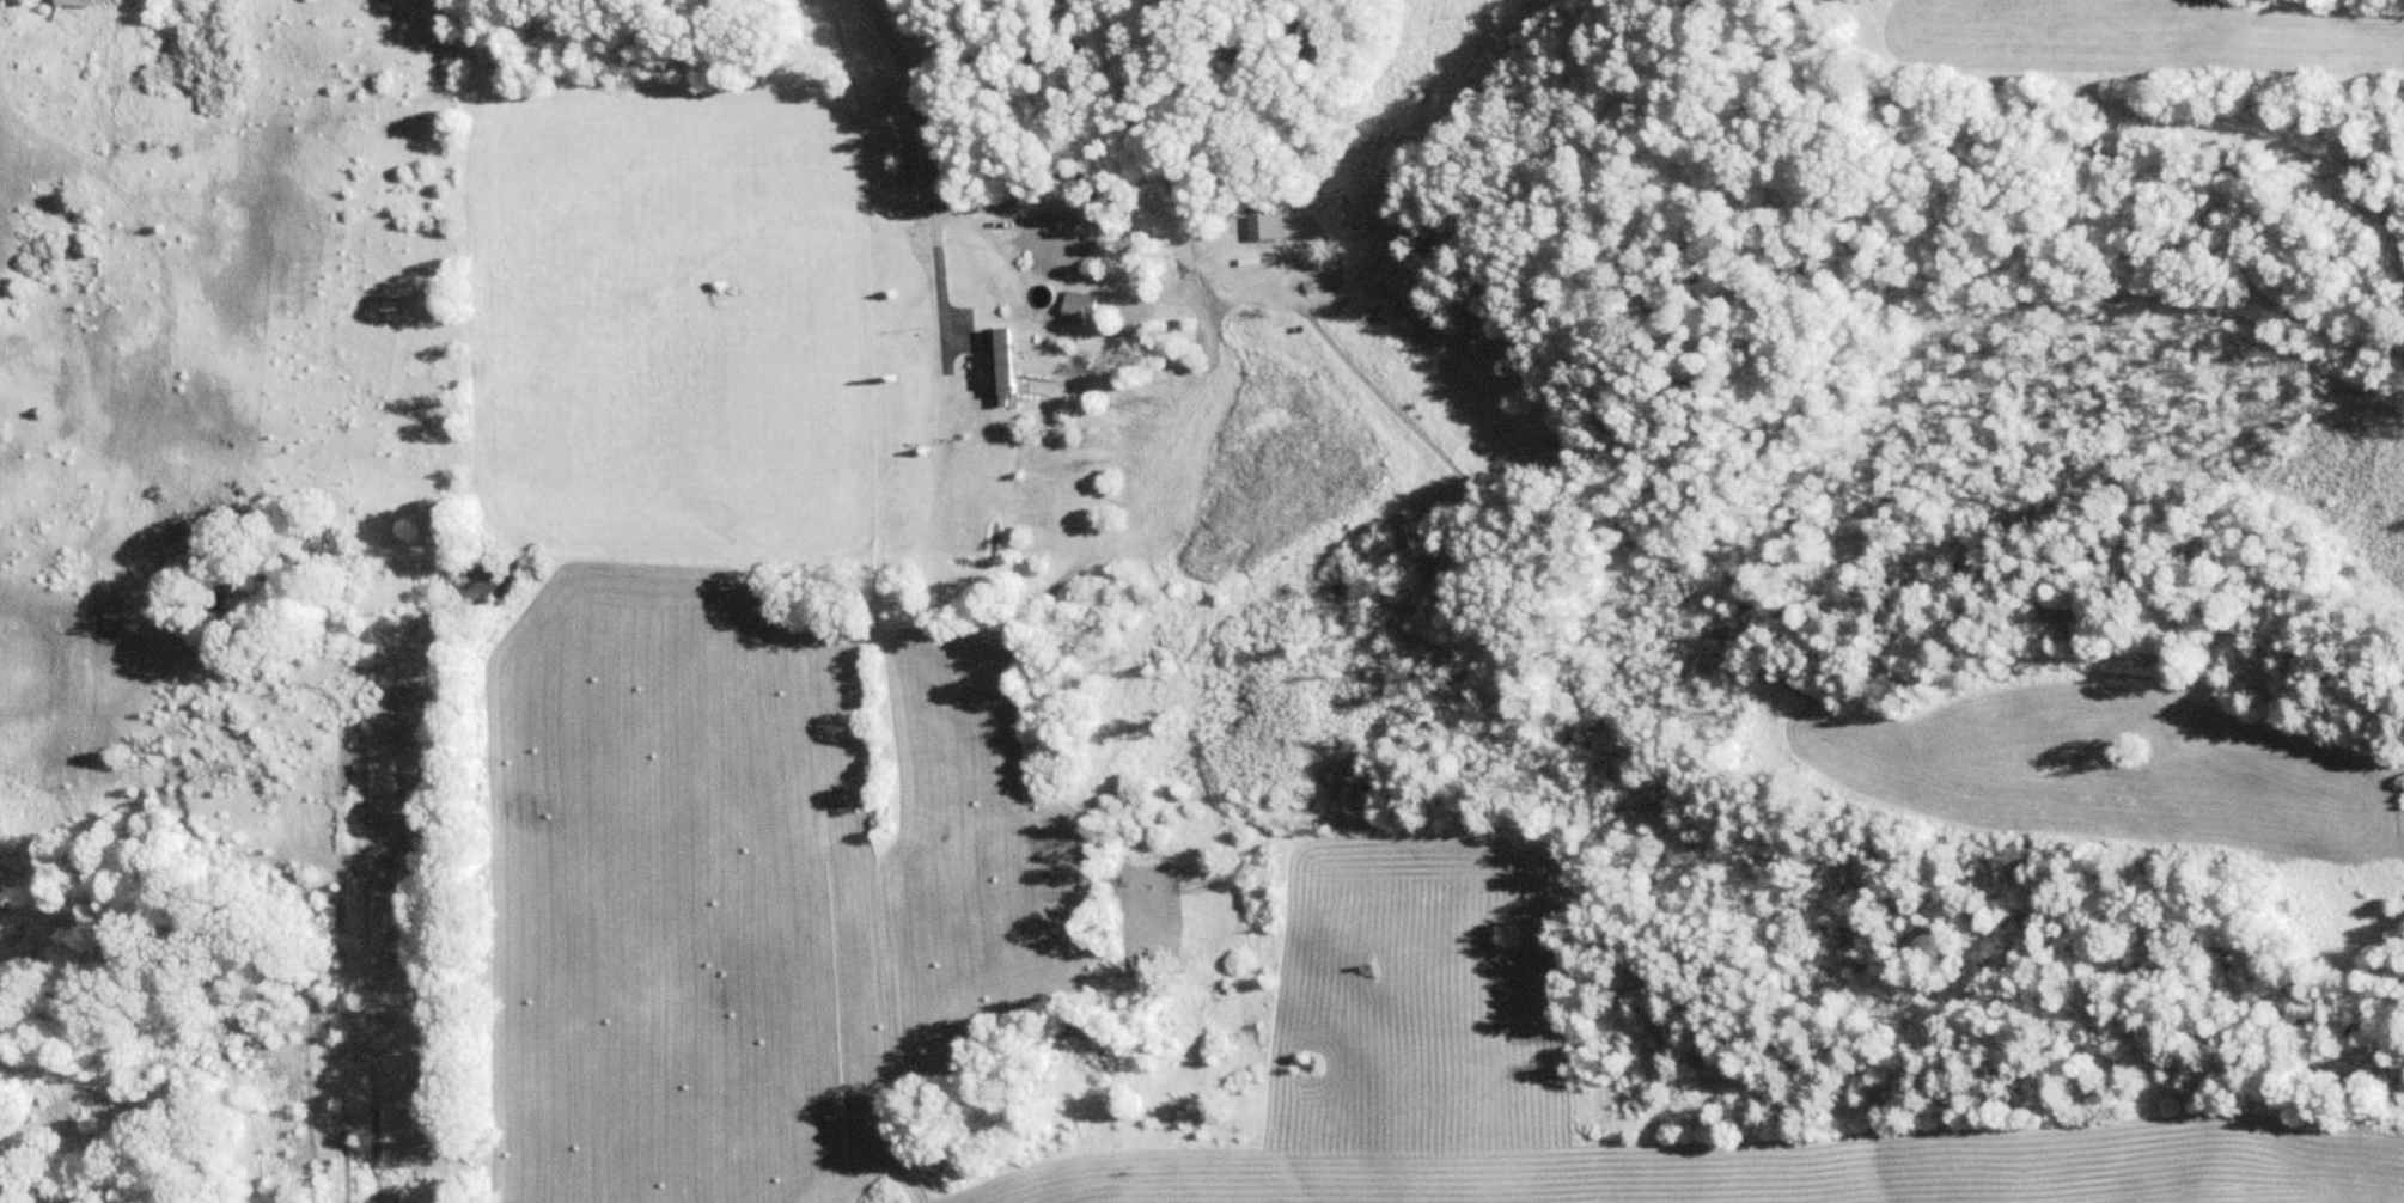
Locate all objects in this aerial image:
building: (83, 2)
building: (1267, 226)
building: (1082, 305)
building: (1001, 366)
crop: (931, 783)

